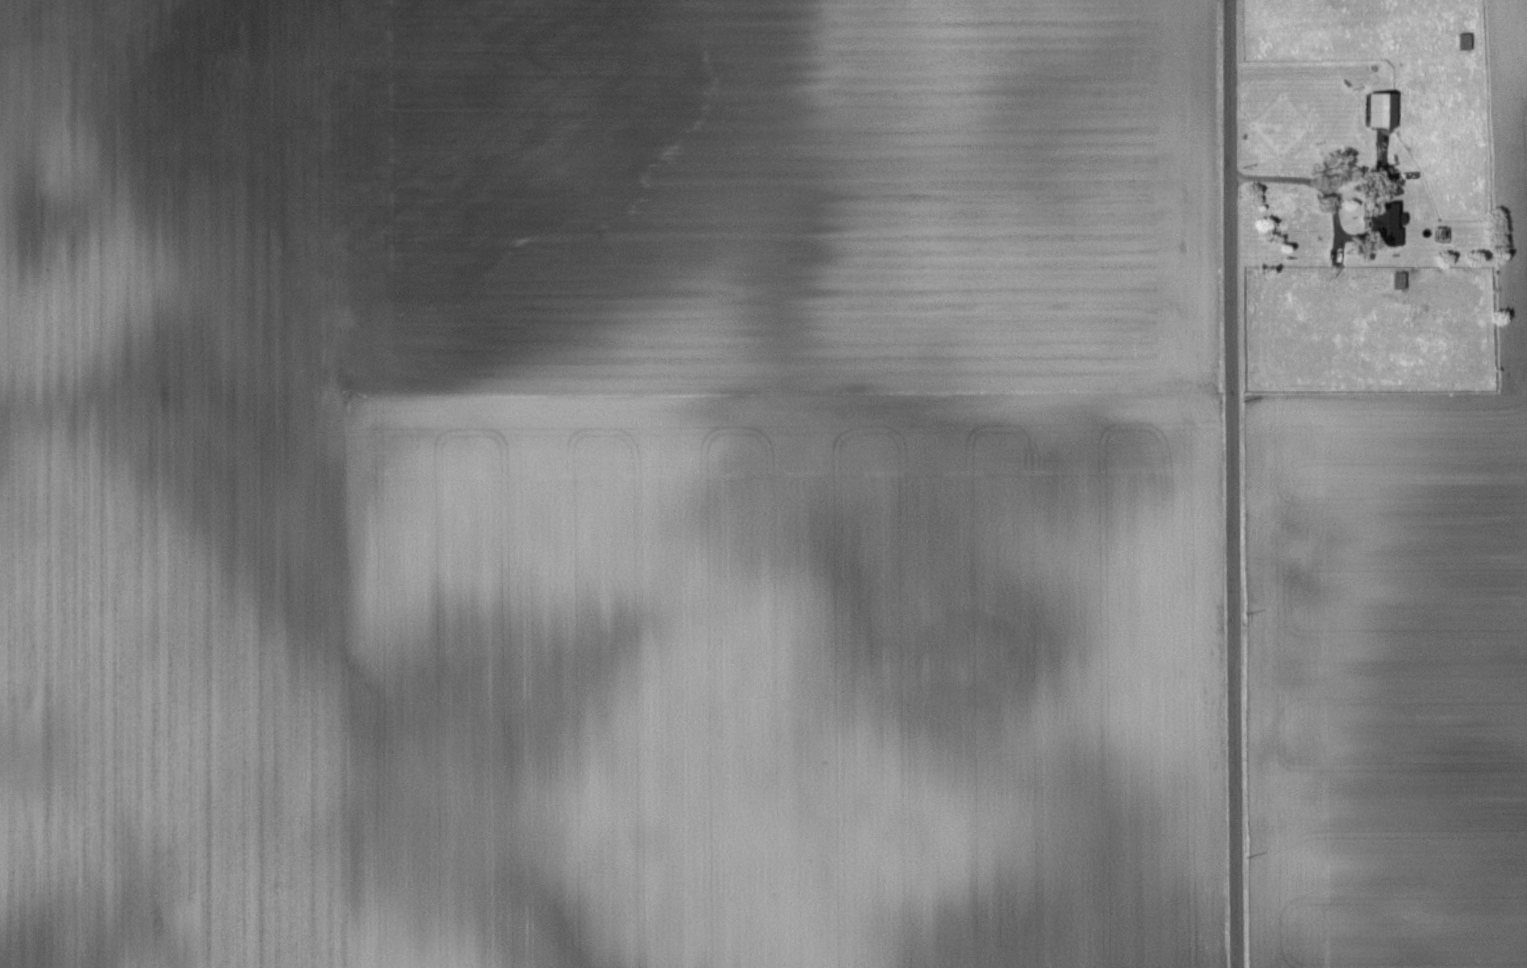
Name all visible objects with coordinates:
building: (1382, 110)
road: (1318, 180)
building: (1387, 224)
road: (1232, 484)

